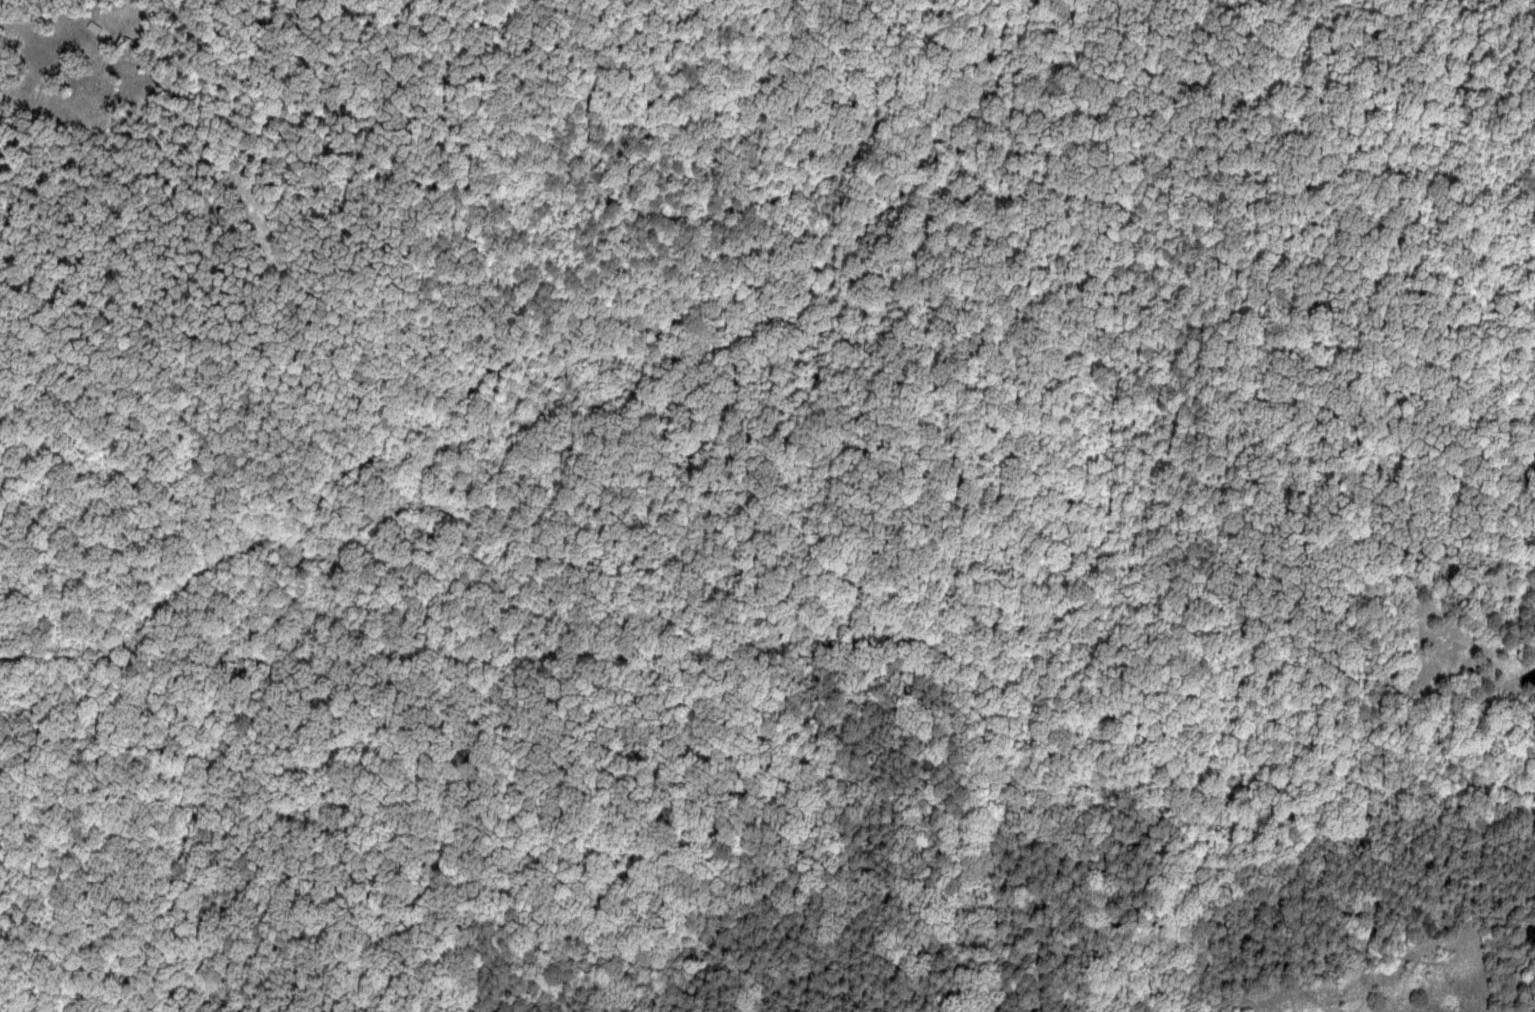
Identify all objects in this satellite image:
road: (45, 8)

